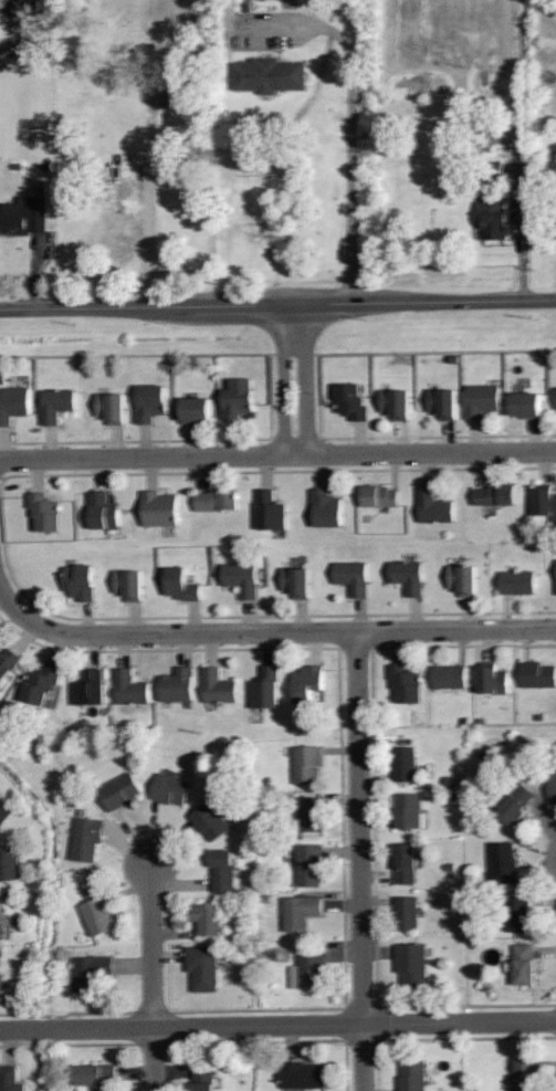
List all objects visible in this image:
building: (31, 10)
building: (267, 74)
road: (353, 126)
building: (554, 206)
building: (23, 214)
building: (493, 214)
building: (120, 232)
road: (524, 238)
road: (149, 246)
road: (277, 303)
road: (296, 378)
building: (238, 398)
building: (480, 399)
building: (353, 400)
building: (148, 401)
building: (394, 401)
building: (442, 401)
building: (13, 402)
building: (55, 402)
building: (525, 402)
building: (111, 406)
building: (195, 409)
road: (277, 454)
building: (494, 493)
building: (379, 495)
building: (216, 500)
building: (546, 500)
building: (433, 505)
building: (326, 506)
building: (159, 507)
building: (101, 510)
building: (270, 510)
building: (44, 511)
building: (352, 574)
building: (408, 575)
building: (241, 576)
building: (295, 579)
building: (462, 579)
building: (516, 580)
building: (128, 581)
building: (78, 583)
building: (179, 584)
road: (267, 631)
building: (8, 662)
building: (537, 673)
building: (449, 674)
building: (494, 676)
building: (307, 681)
building: (177, 682)
building: (39, 683)
building: (217, 683)
building: (405, 683)
building: (129, 685)
building: (88, 686)
building: (264, 686)
building: (304, 763)
building: (403, 763)
building: (553, 787)
building: (169, 788)
building: (119, 790)
building: (515, 801)
building: (408, 811)
building: (4, 812)
building: (311, 814)
building: (209, 819)
building: (87, 838)
road: (359, 860)
building: (9, 862)
building: (405, 862)
building: (502, 862)
building: (308, 863)
building: (222, 869)
building: (300, 910)
building: (406, 912)
building: (516, 912)
building: (97, 915)
building: (206, 916)
building: (1, 920)
road: (153, 945)
building: (411, 963)
building: (523, 963)
building: (202, 966)
building: (91, 971)
building: (307, 971)
building: (0, 984)
road: (277, 1025)
road: (154, 1059)
building: (96, 1073)
building: (302, 1073)
building: (524, 1073)
building: (411, 1076)
building: (202, 1078)
building: (9, 1079)

